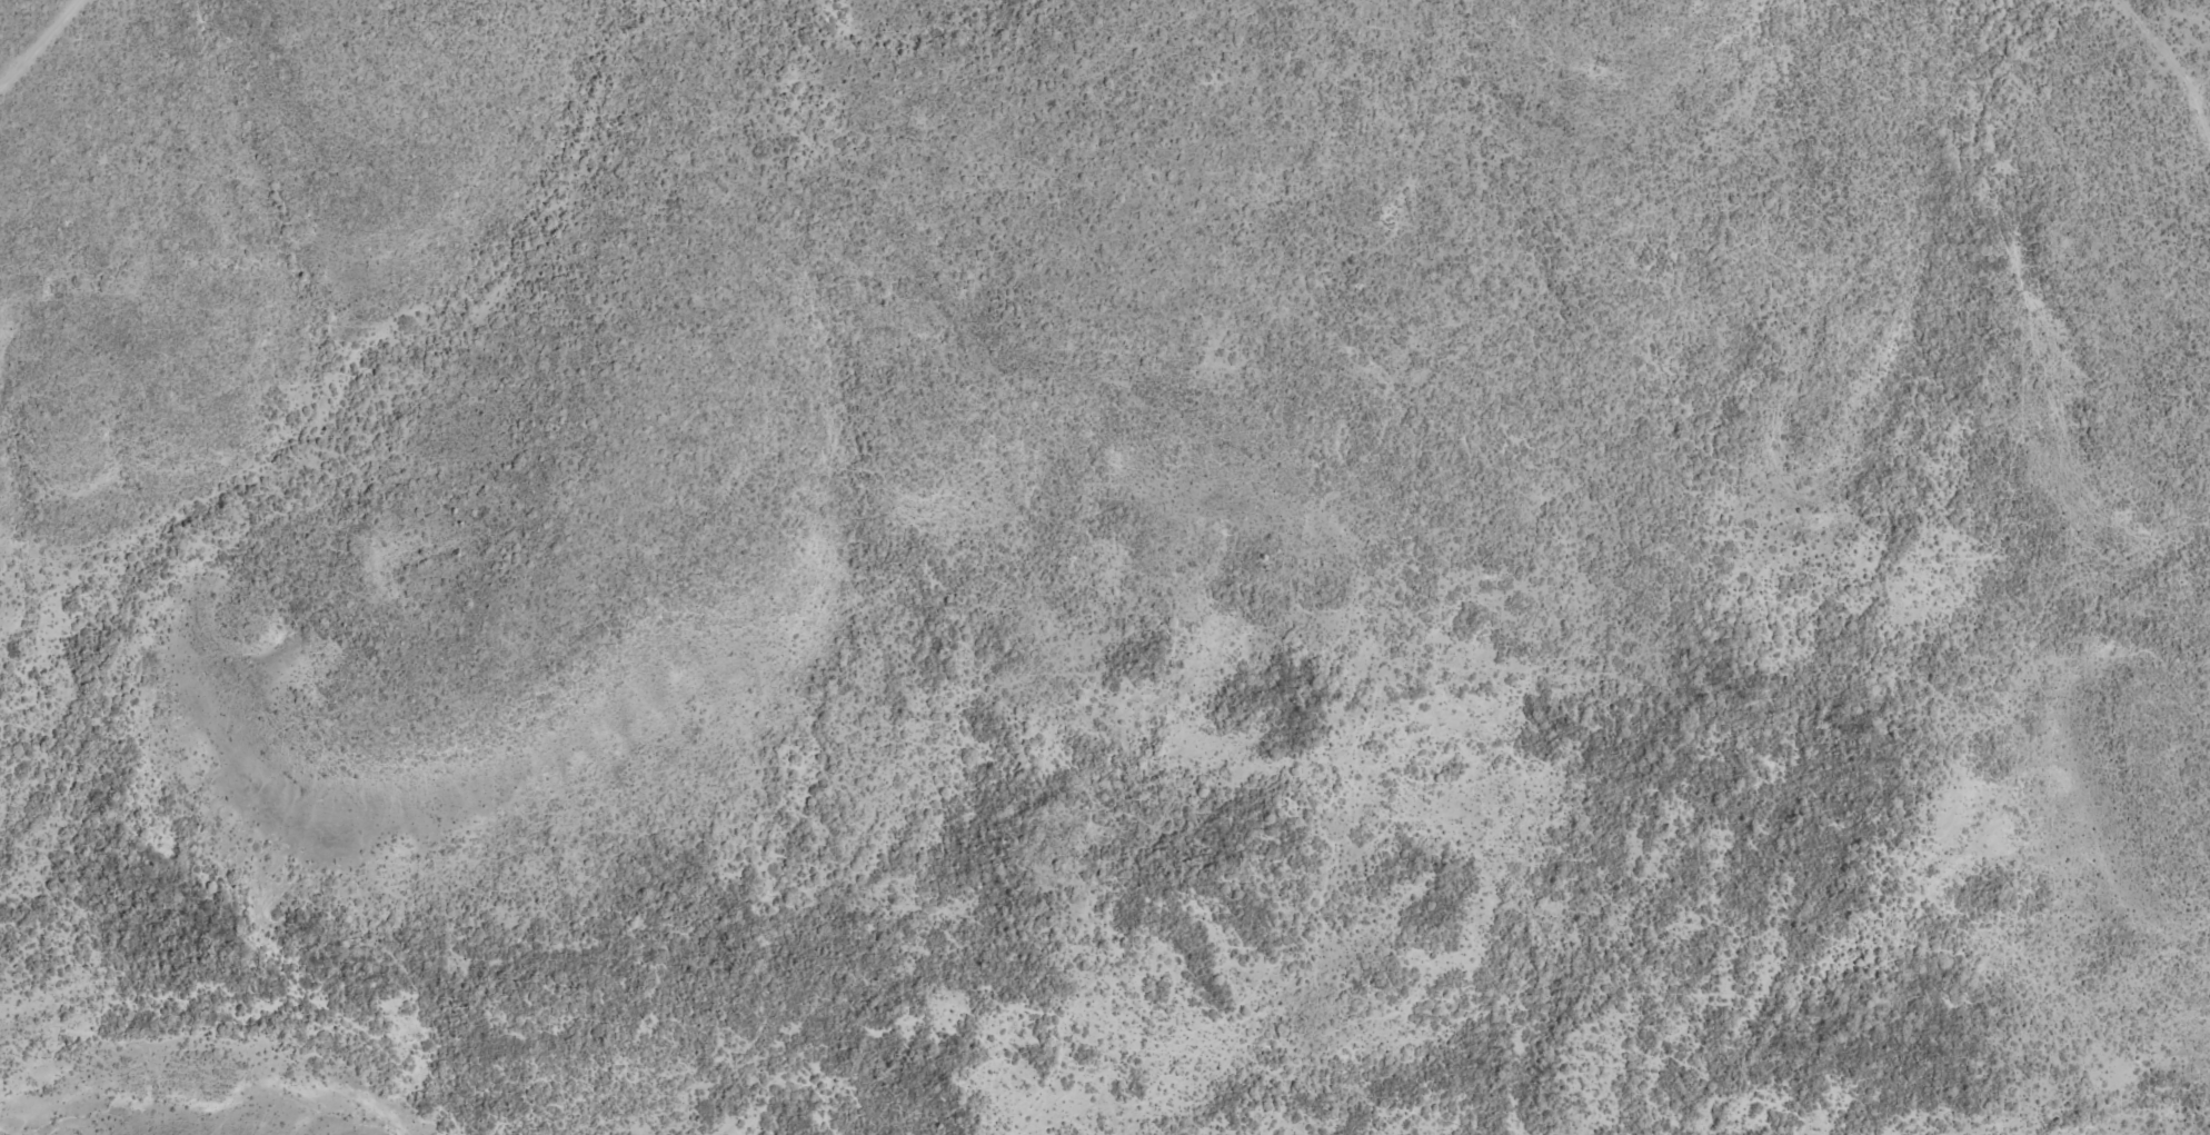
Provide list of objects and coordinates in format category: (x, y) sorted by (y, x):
road: (38, 42)
road: (2172, 62)

